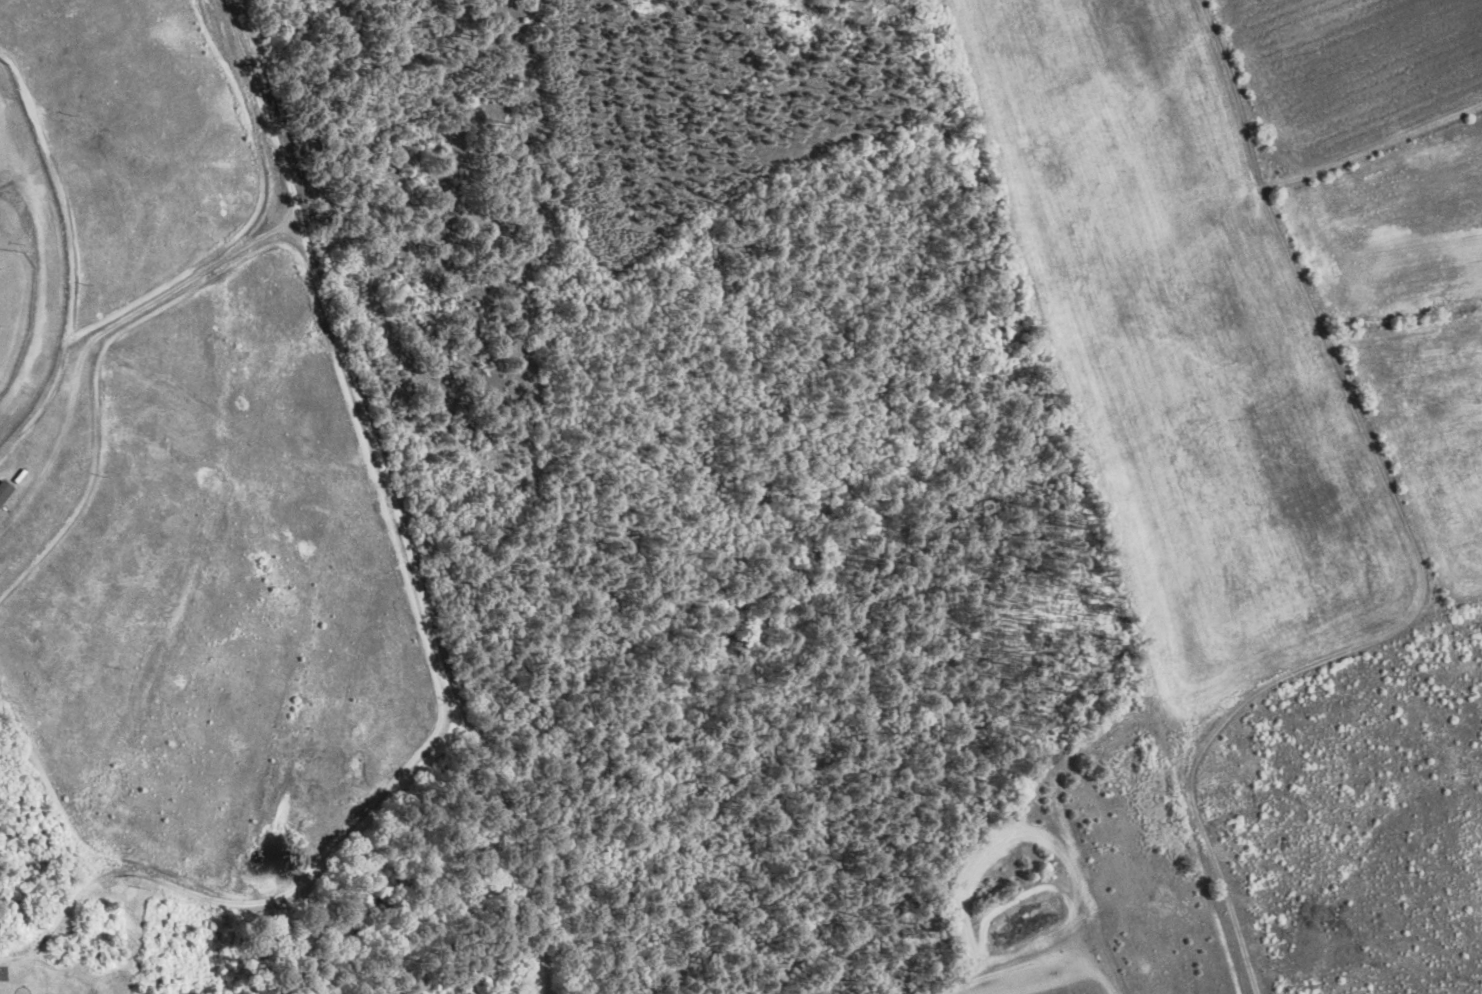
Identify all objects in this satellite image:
building: (3, 489)
road: (428, 617)

